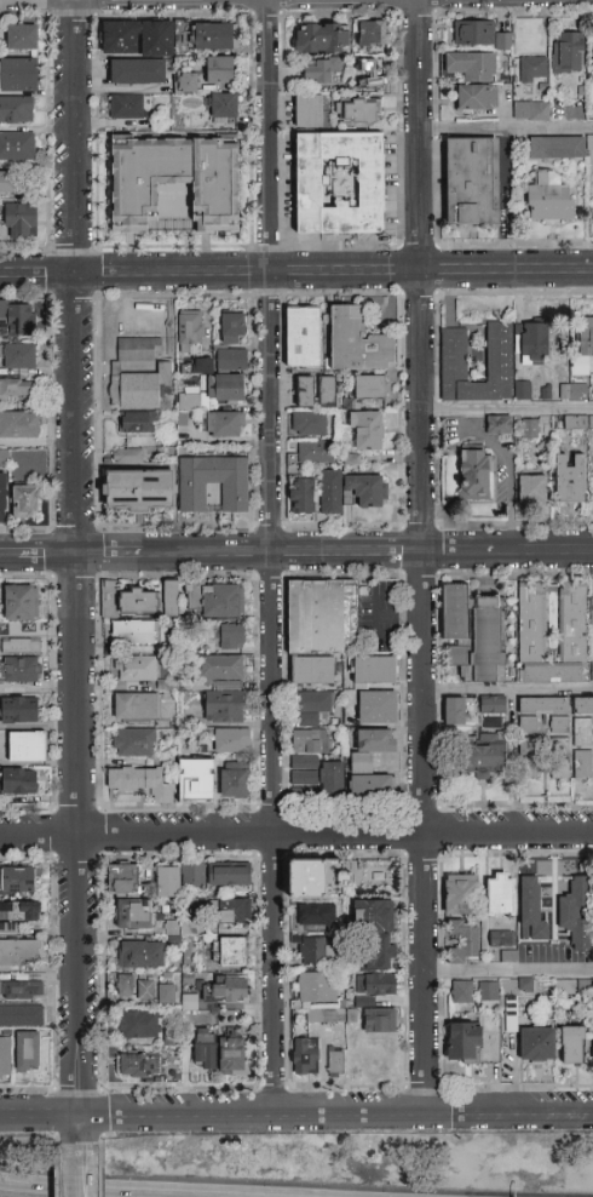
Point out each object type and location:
building: (372, 34)
building: (479, 35)
building: (22, 36)
building: (215, 36)
building: (321, 38)
building: (138, 39)
building: (589, 48)
building: (568, 52)
building: (470, 65)
building: (219, 70)
building: (318, 70)
building: (532, 70)
building: (137, 71)
building: (368, 74)
building: (18, 75)
building: (188, 82)
building: (476, 98)
building: (126, 107)
building: (223, 109)
building: (17, 110)
building: (309, 110)
building: (358, 111)
building: (531, 111)
road: (507, 128)
building: (587, 141)
building: (17, 147)
building: (558, 148)
building: (173, 181)
building: (7, 182)
building: (472, 182)
building: (339, 183)
building: (548, 199)
building: (21, 219)
road: (295, 274)
building: (17, 319)
building: (234, 328)
building: (190, 330)
building: (303, 337)
building: (357, 342)
building: (534, 343)
building: (583, 348)
building: (139, 350)
building: (455, 355)
building: (19, 356)
building: (231, 359)
building: (369, 388)
building: (16, 389)
building: (137, 389)
building: (226, 389)
building: (523, 390)
building: (305, 391)
building: (327, 391)
building: (574, 391)
building: (190, 402)
road: (508, 413)
building: (137, 423)
building: (578, 423)
building: (19, 424)
building: (224, 424)
building: (309, 424)
building: (499, 425)
building: (529, 429)
building: (367, 430)
road: (487, 437)
building: (315, 452)
building: (128, 457)
building: (476, 474)
building: (570, 479)
building: (367, 489)
building: (532, 489)
building: (592, 489)
building: (139, 491)
building: (330, 492)
building: (2, 497)
building: (192, 498)
building: (300, 499)
building: (25, 502)
road: (509, 504)
road: (534, 551)
road: (449, 552)
road: (251, 555)
road: (8, 556)
road: (47, 556)
road: (272, 556)
road: (424, 556)
road: (77, 557)
building: (109, 596)
building: (171, 598)
building: (214, 600)
building: (22, 602)
building: (139, 603)
building: (322, 615)
building: (134, 632)
building: (473, 634)
building: (232, 636)
building: (530, 643)
building: (21, 646)
building: (220, 668)
building: (136, 669)
building: (19, 670)
building: (312, 670)
building: (374, 670)
building: (223, 683)
road: (508, 689)
building: (491, 705)
building: (136, 706)
building: (312, 706)
building: (582, 706)
building: (376, 708)
building: (225, 709)
building: (19, 710)
building: (454, 711)
building: (543, 714)
building: (582, 732)
building: (229, 740)
building: (134, 743)
building: (310, 743)
building: (27, 746)
building: (559, 746)
building: (483, 760)
building: (370, 763)
building: (583, 764)
building: (529, 768)
building: (559, 769)
building: (316, 778)
building: (196, 780)
building: (19, 781)
building: (142, 783)
building: (234, 783)
road: (296, 835)
building: (284, 874)
building: (229, 875)
building: (194, 876)
building: (373, 877)
building: (316, 880)
building: (17, 881)
building: (123, 881)
building: (168, 882)
building: (460, 894)
building: (500, 894)
building: (531, 910)
building: (234, 911)
building: (576, 912)
building: (19, 913)
building: (134, 915)
building: (374, 915)
building: (315, 916)
building: (178, 926)
building: (501, 938)
building: (462, 943)
building: (315, 950)
building: (232, 951)
building: (18, 952)
building: (379, 953)
building: (142, 955)
building: (507, 956)
road: (508, 974)
building: (376, 985)
building: (525, 985)
building: (125, 986)
building: (19, 987)
building: (317, 987)
building: (564, 987)
building: (146, 990)
building: (226, 990)
building: (488, 991)
building: (462, 992)
building: (167, 995)
building: (185, 998)
building: (321, 1015)
building: (511, 1015)
building: (19, 1016)
building: (379, 1020)
building: (139, 1024)
building: (465, 1043)
building: (537, 1044)
building: (572, 1044)
building: (589, 1044)
building: (205, 1049)
building: (28, 1052)
building: (232, 1056)
building: (304, 1056)
building: (5, 1058)
building: (335, 1065)
building: (140, 1066)
road: (338, 1115)
road: (41, 1116)
road: (84, 1129)
road: (84, 1169)
road: (114, 1189)

